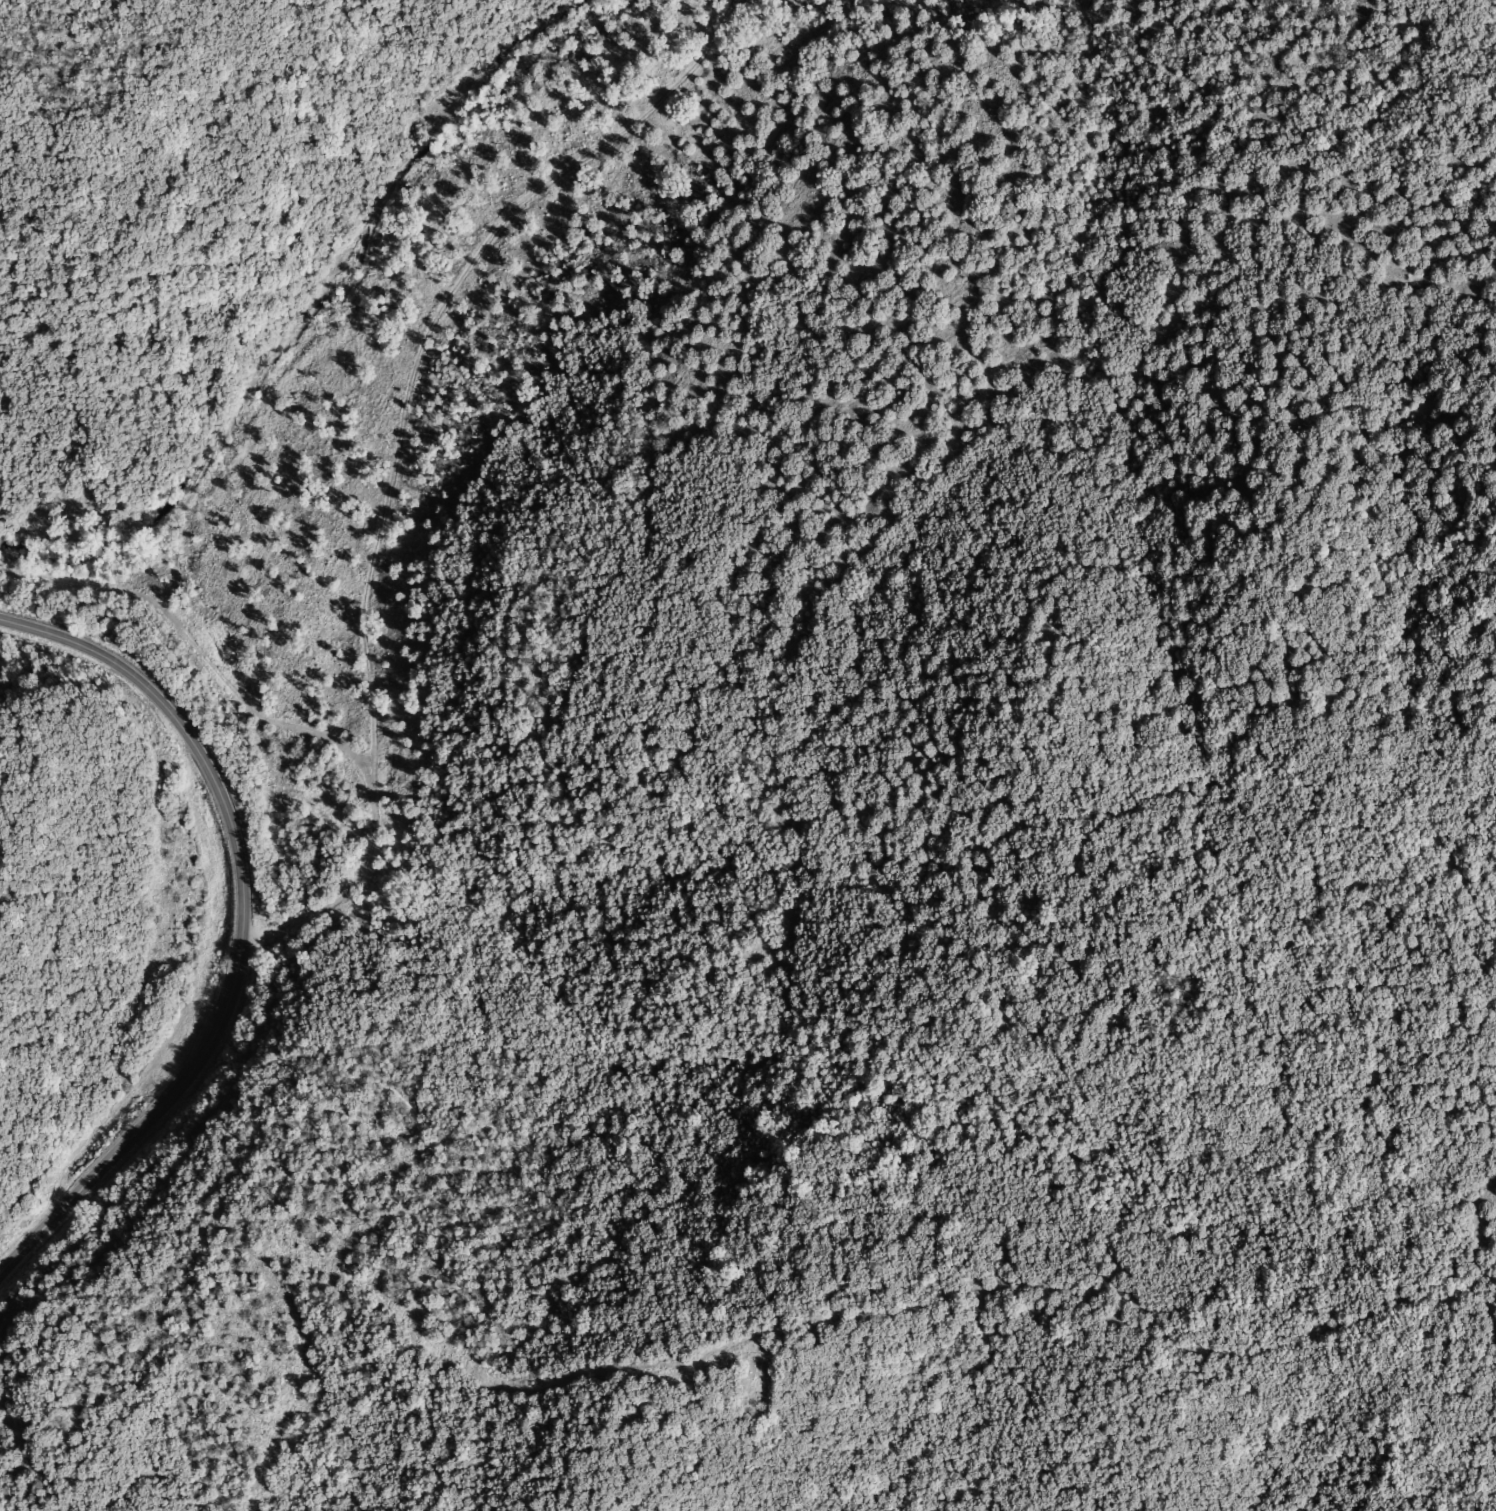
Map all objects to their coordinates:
road: (409, 477)
road: (242, 929)

